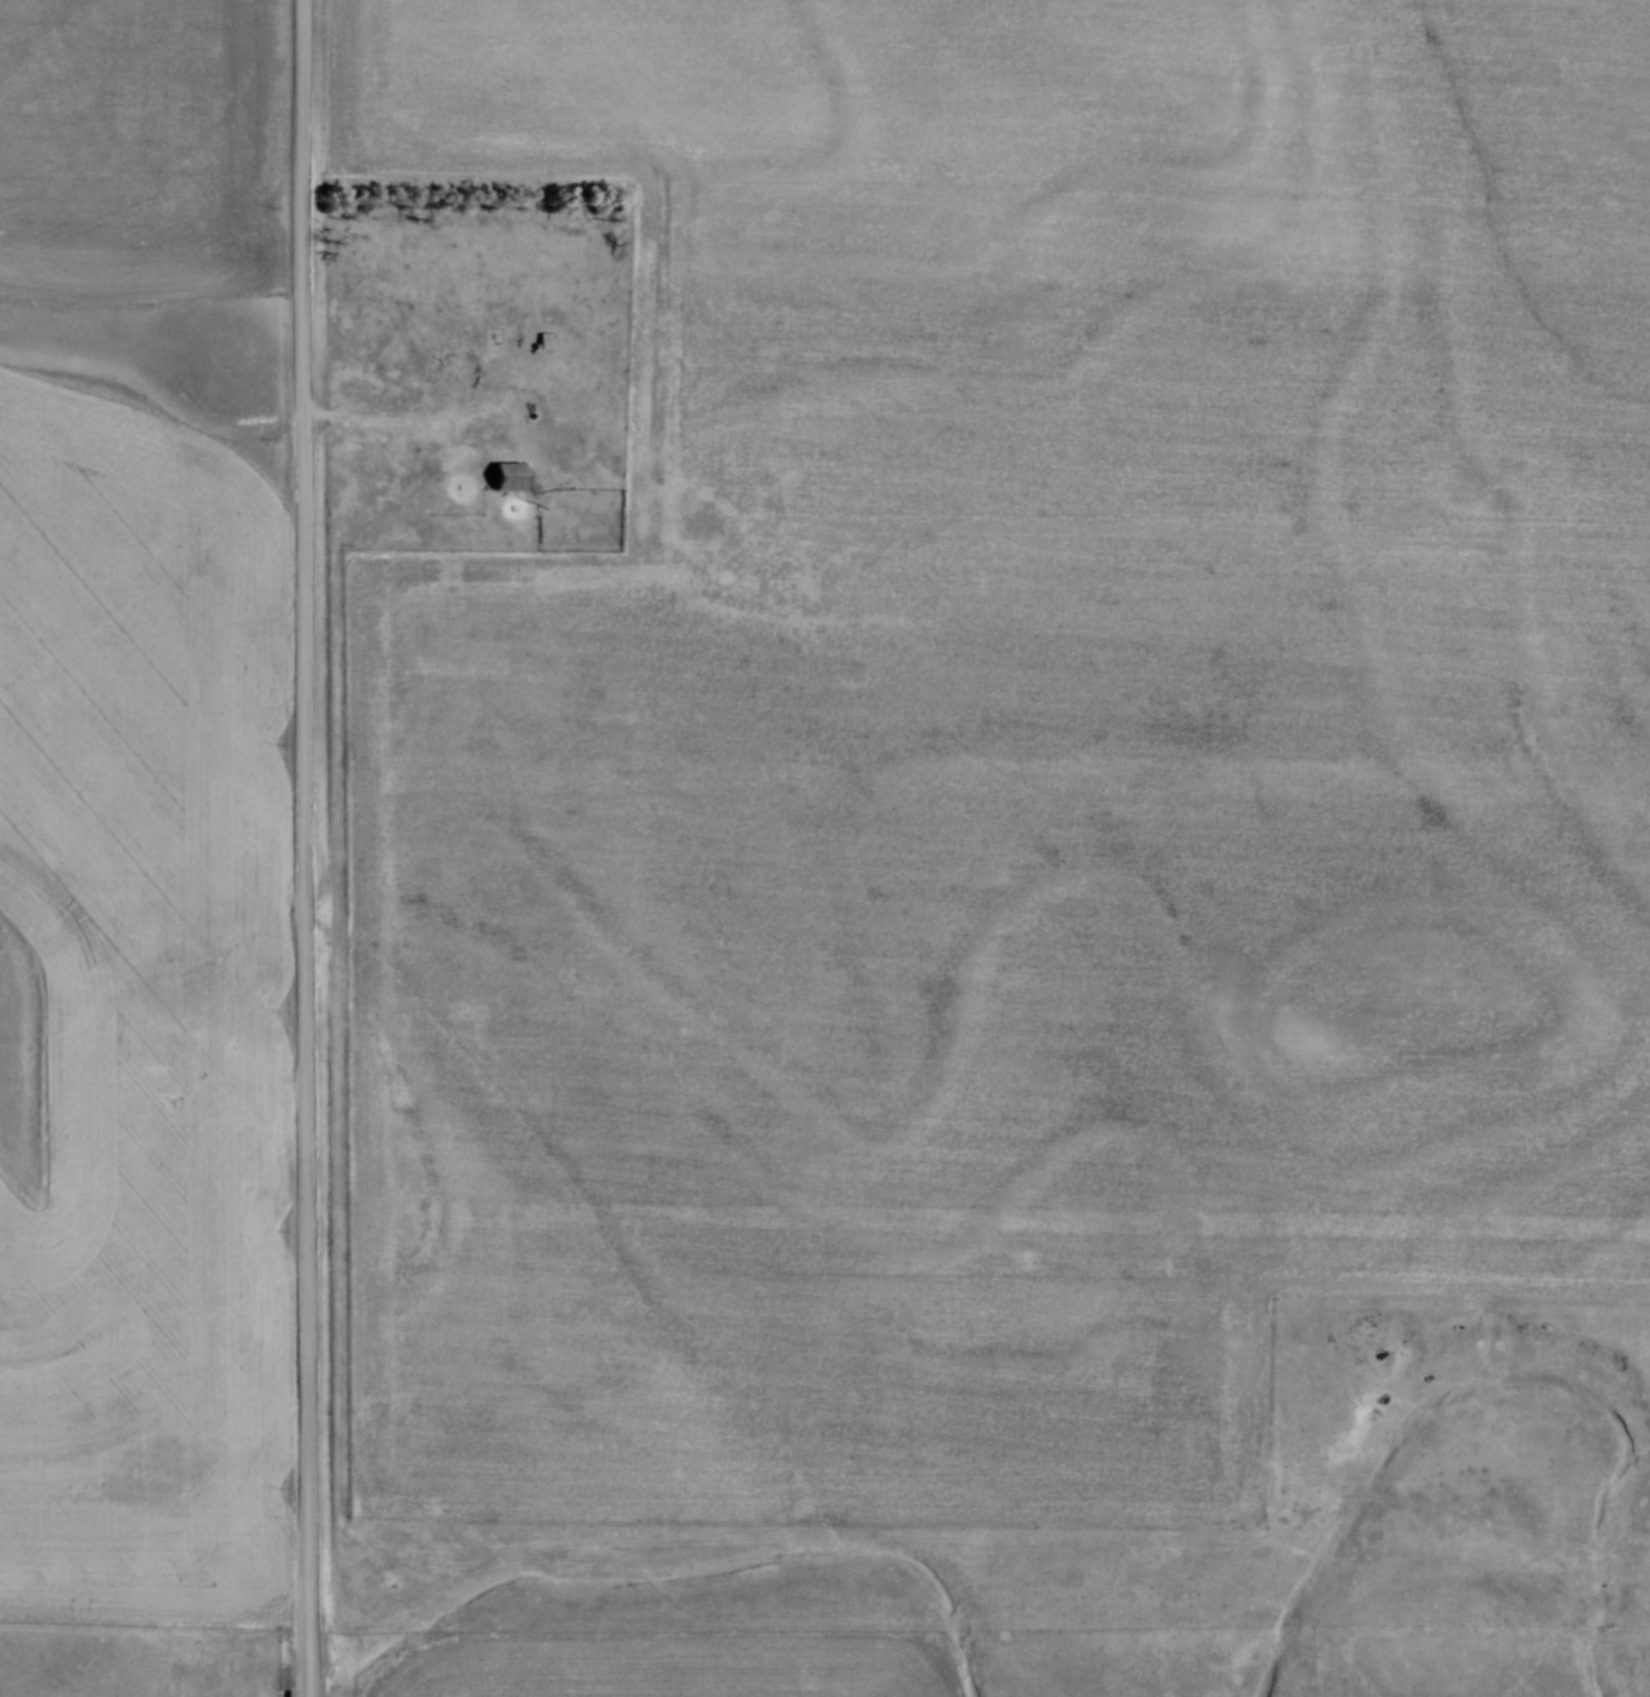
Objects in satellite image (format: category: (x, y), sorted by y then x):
crop: (141, 149)
building: (547, 339)
road: (388, 421)
building: (509, 475)
crop: (1013, 753)
road: (305, 839)
crop: (141, 1007)
road: (306, 1688)

